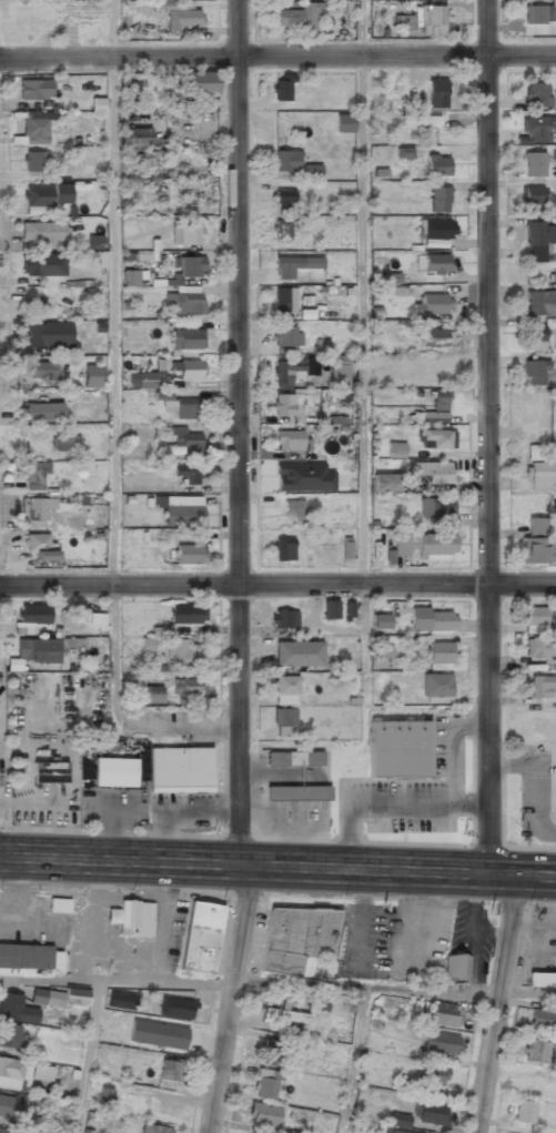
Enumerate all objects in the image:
building: (164, 0)
building: (294, 14)
building: (537, 14)
building: (183, 18)
building: (431, 21)
road: (277, 57)
building: (200, 83)
building: (281, 89)
building: (34, 90)
building: (536, 94)
building: (436, 95)
building: (421, 121)
building: (343, 124)
building: (34, 129)
building: (536, 130)
building: (135, 136)
building: (404, 153)
building: (284, 161)
building: (32, 162)
building: (533, 165)
building: (437, 166)
building: (312, 172)
building: (438, 199)
building: (530, 199)
building: (38, 200)
building: (283, 200)
building: (434, 230)
building: (282, 231)
building: (42, 233)
building: (539, 234)
building: (185, 236)
building: (94, 242)
building: (42, 265)
building: (435, 265)
building: (293, 266)
building: (188, 267)
building: (130, 277)
road: (361, 292)
building: (283, 301)
building: (185, 304)
building: (540, 304)
building: (431, 305)
building: (48, 335)
building: (284, 337)
building: (433, 338)
building: (186, 340)
building: (535, 340)
road: (111, 365)
building: (337, 368)
building: (286, 370)
building: (41, 371)
building: (190, 371)
building: (533, 374)
building: (92, 377)
building: (145, 382)
building: (344, 396)
building: (283, 406)
building: (182, 408)
building: (436, 408)
building: (42, 412)
road: (237, 432)
road: (487, 436)
building: (434, 438)
building: (180, 439)
building: (291, 442)
building: (64, 444)
building: (394, 451)
building: (534, 452)
building: (432, 472)
building: (281, 474)
building: (186, 475)
building: (34, 477)
building: (538, 478)
building: (384, 484)
building: (182, 509)
building: (436, 509)
building: (34, 512)
building: (292, 512)
building: (537, 544)
building: (435, 545)
building: (397, 547)
building: (39, 550)
building: (283, 550)
building: (188, 555)
road: (277, 584)
building: (348, 609)
building: (330, 610)
building: (186, 615)
building: (30, 617)
building: (534, 619)
building: (97, 620)
building: (283, 620)
building: (438, 620)
building: (381, 621)
building: (71, 643)
building: (146, 644)
building: (32, 649)
building: (540, 649)
building: (383, 651)
building: (438, 653)
building: (297, 655)
building: (182, 656)
building: (13, 665)
building: (184, 688)
building: (539, 688)
building: (284, 690)
building: (152, 696)
building: (283, 720)
building: (398, 749)
building: (294, 759)
building: (179, 770)
building: (49, 773)
building: (114, 775)
building: (296, 793)
road: (277, 864)
building: (133, 918)
building: (201, 937)
building: (299, 941)
building: (29, 957)
building: (456, 967)
building: (542, 979)
road: (117, 982)
road: (395, 987)
building: (60, 997)
road: (233, 999)
building: (120, 1000)
road: (496, 1003)
building: (174, 1008)
building: (16, 1009)
building: (444, 1014)
building: (286, 1015)
building: (543, 1019)
building: (9, 1035)
building: (442, 1042)
building: (536, 1051)
building: (272, 1052)
road: (85, 1058)
road: (353, 1060)
building: (169, 1070)
building: (42, 1072)
building: (14, 1073)
building: (432, 1074)
building: (266, 1084)
building: (7, 1106)
building: (429, 1112)
building: (524, 1112)
building: (263, 1115)
building: (398, 1120)
building: (155, 1129)
building: (7, 1130)

